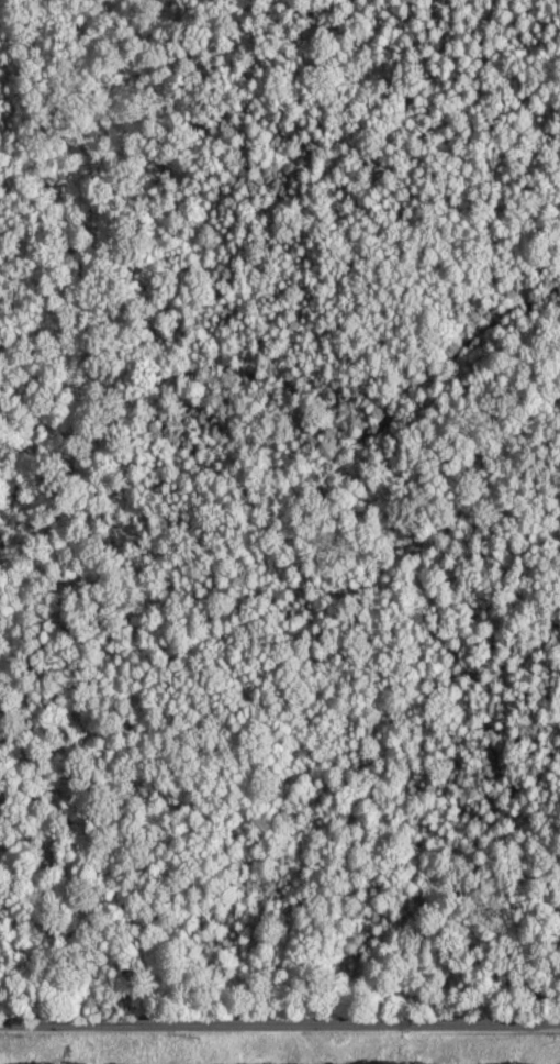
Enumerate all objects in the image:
road: (279, 1020)

